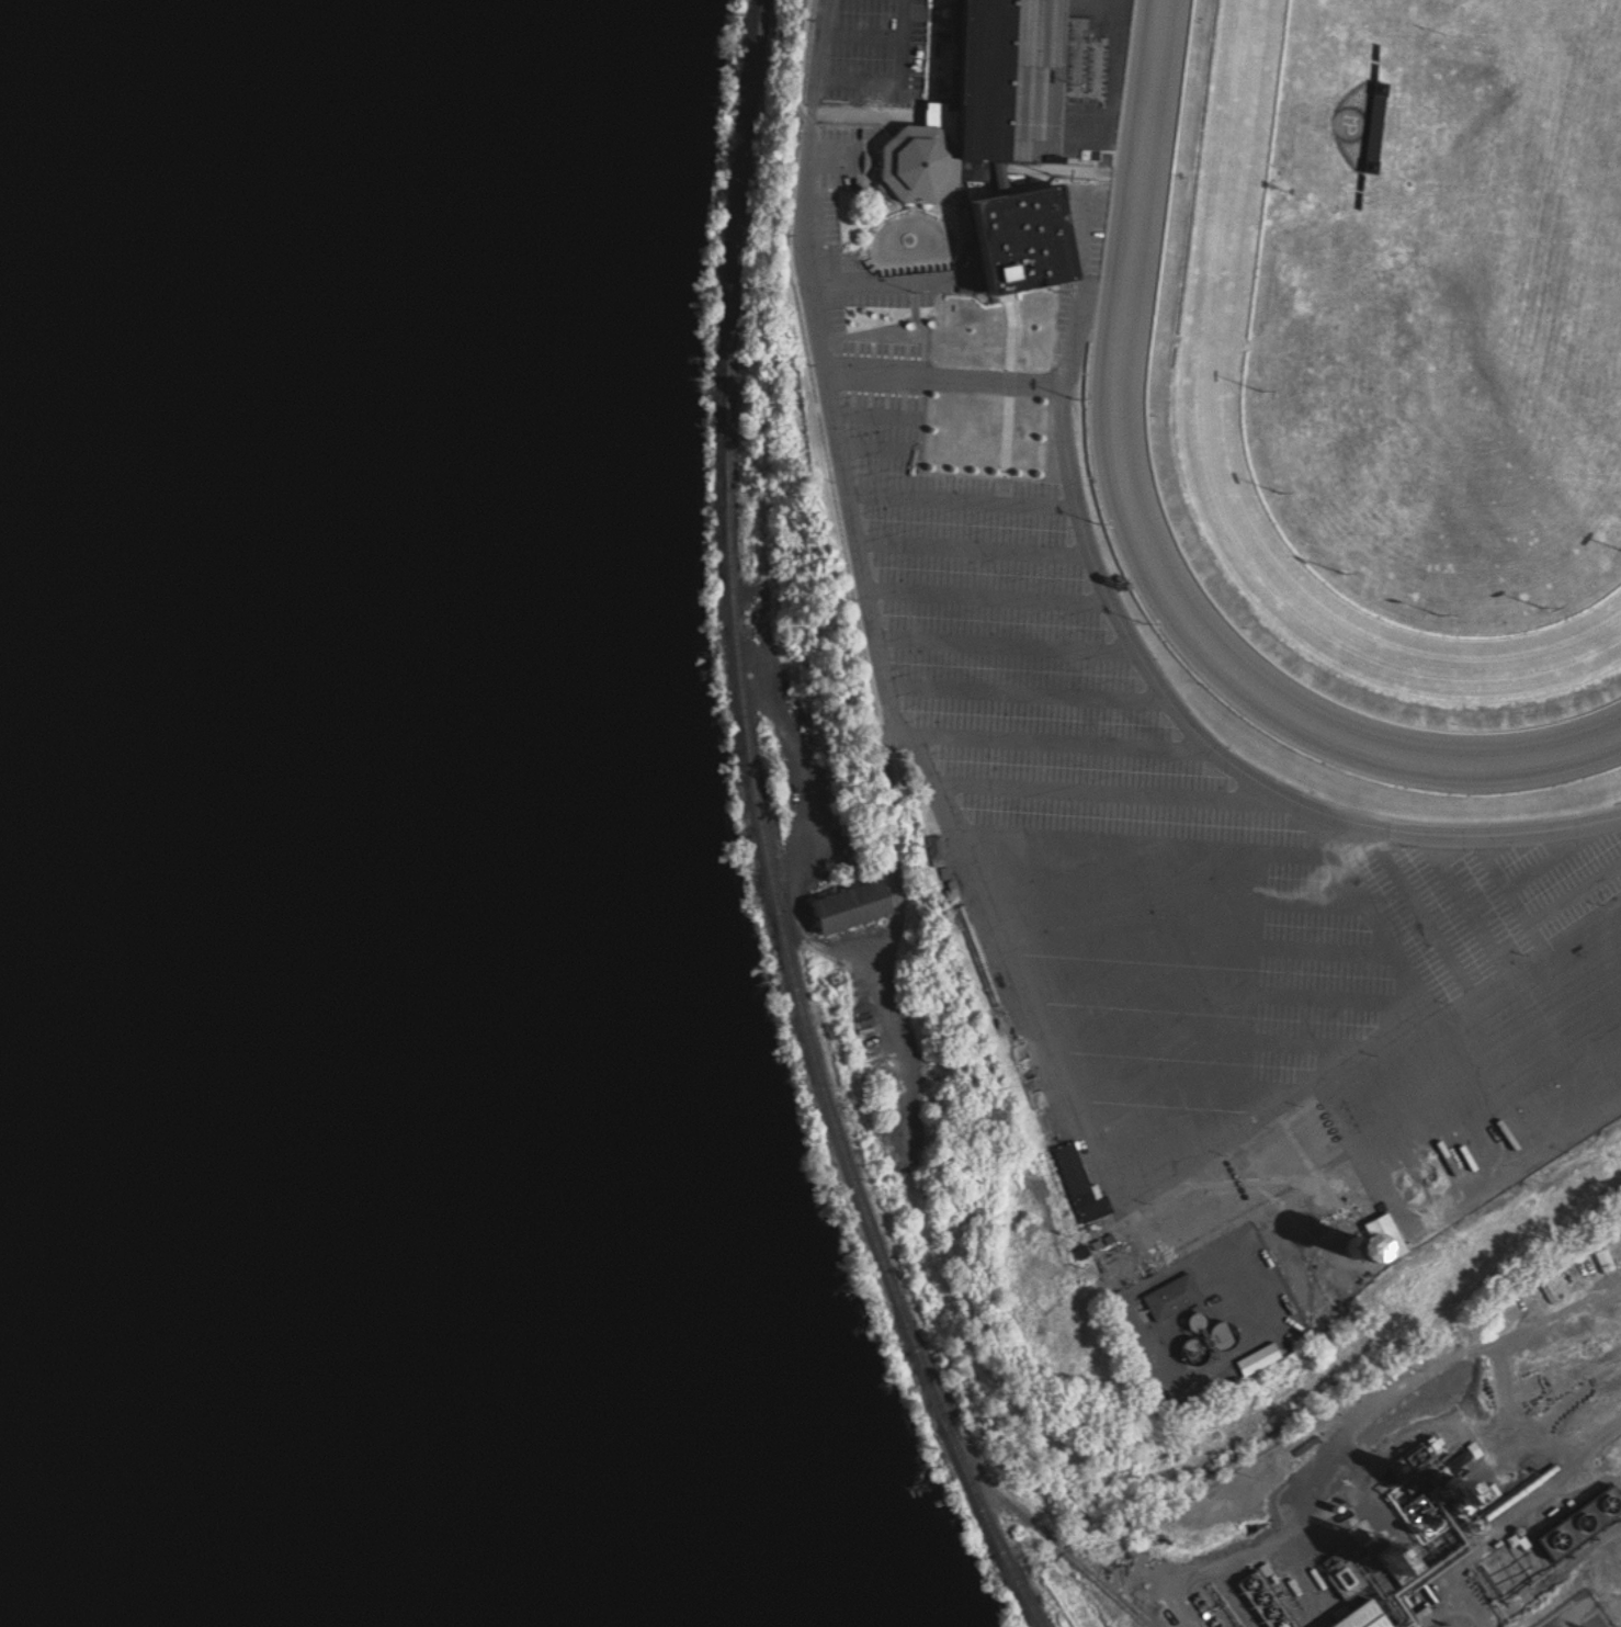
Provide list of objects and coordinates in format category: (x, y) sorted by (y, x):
building: (995, 138)
track: (1391, 358)
road: (789, 428)
road: (1220, 757)
river: (282, 818)
railway: (771, 836)
building: (849, 899)
building: (1082, 1183)
building: (1363, 1244)
building: (1175, 1296)
building: (1263, 1357)
road: (1339, 1437)
building: (1582, 1513)
railway: (1025, 1516)
building: (1268, 1595)
building: (1357, 1614)

